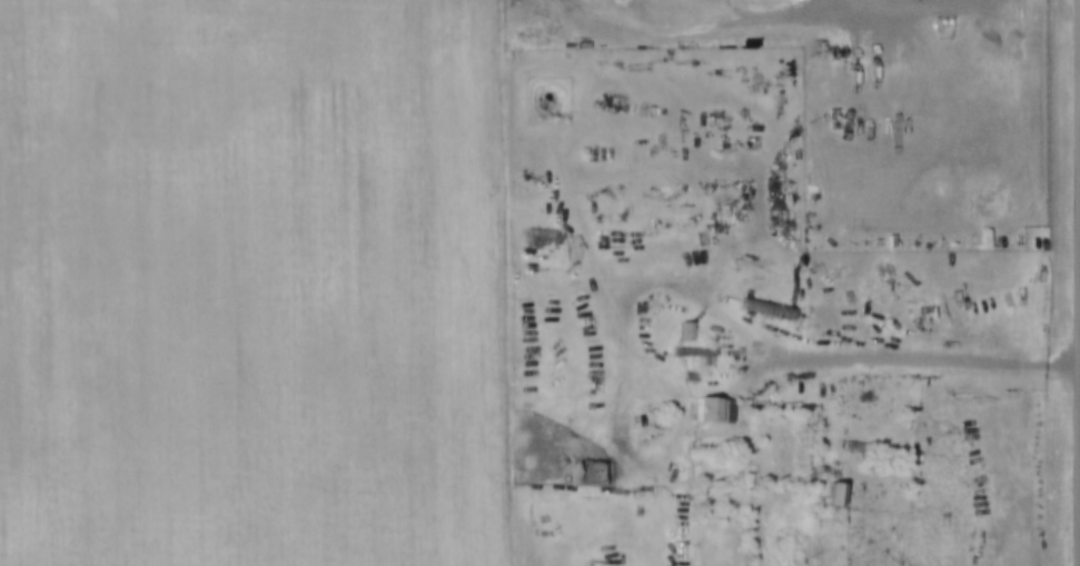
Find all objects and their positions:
road: (789, 13)
road: (523, 282)
building: (764, 282)
building: (766, 305)
building: (685, 327)
building: (696, 350)
road: (909, 357)
building: (690, 371)
building: (713, 405)
building: (852, 441)
building: (586, 469)
building: (838, 489)

